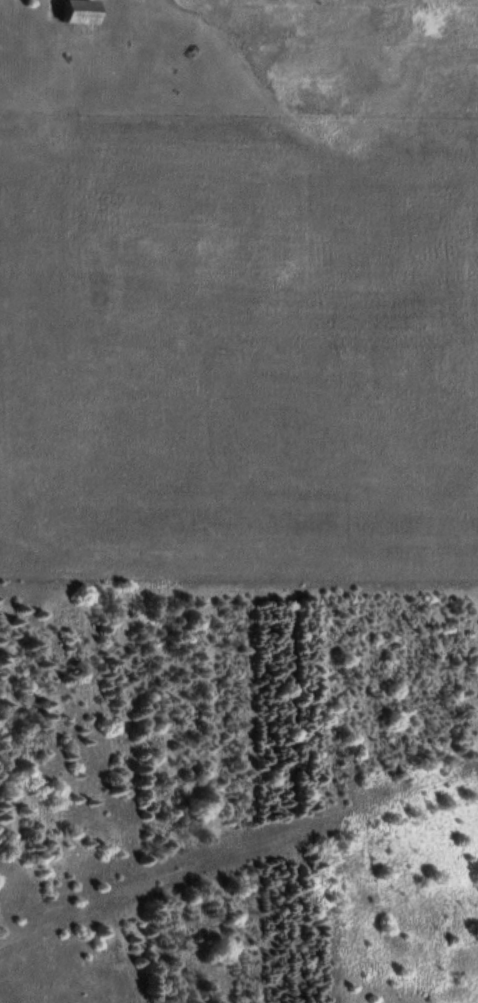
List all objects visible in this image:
building: (72, 12)

